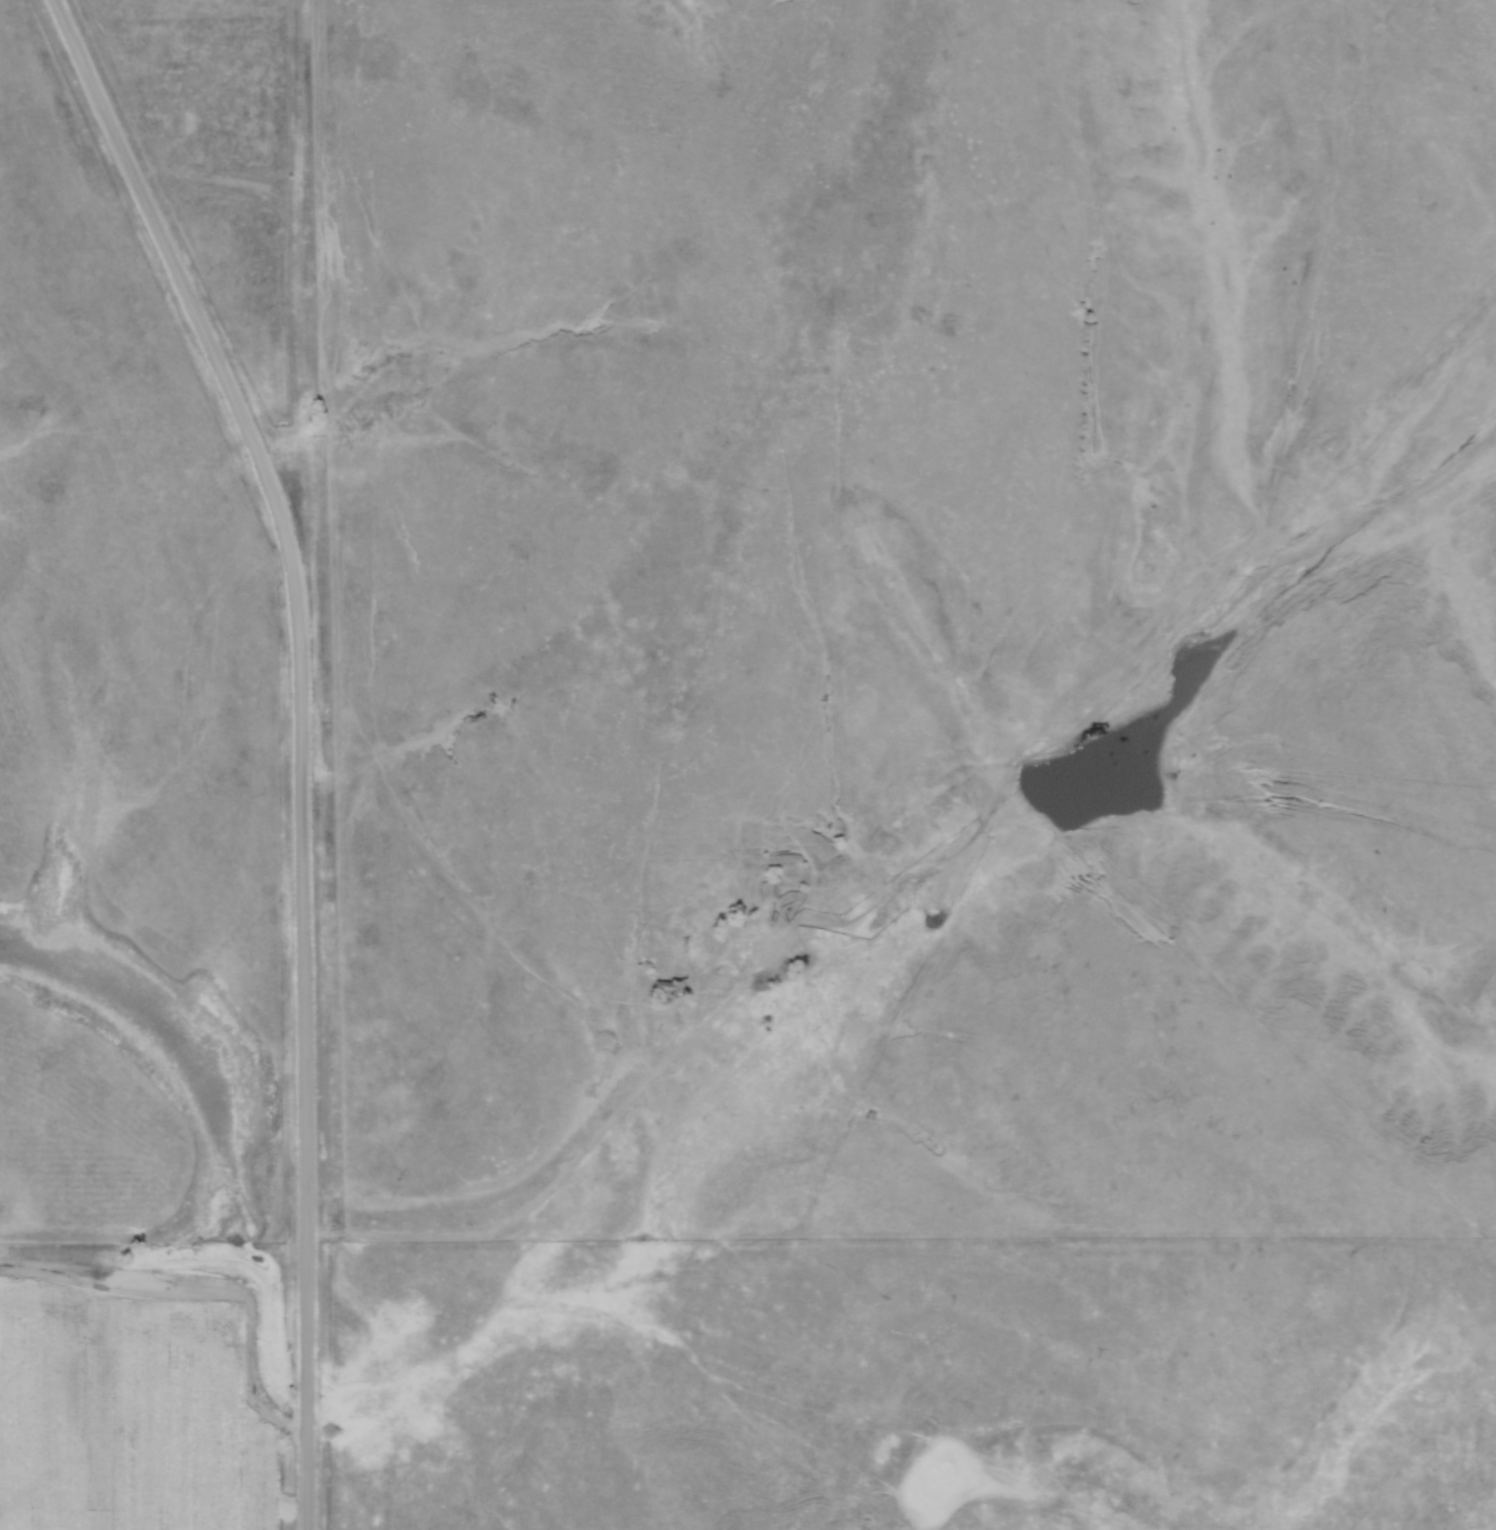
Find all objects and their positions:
road: (302, 739)
building: (768, 893)
building: (676, 988)
crop: (127, 1405)

